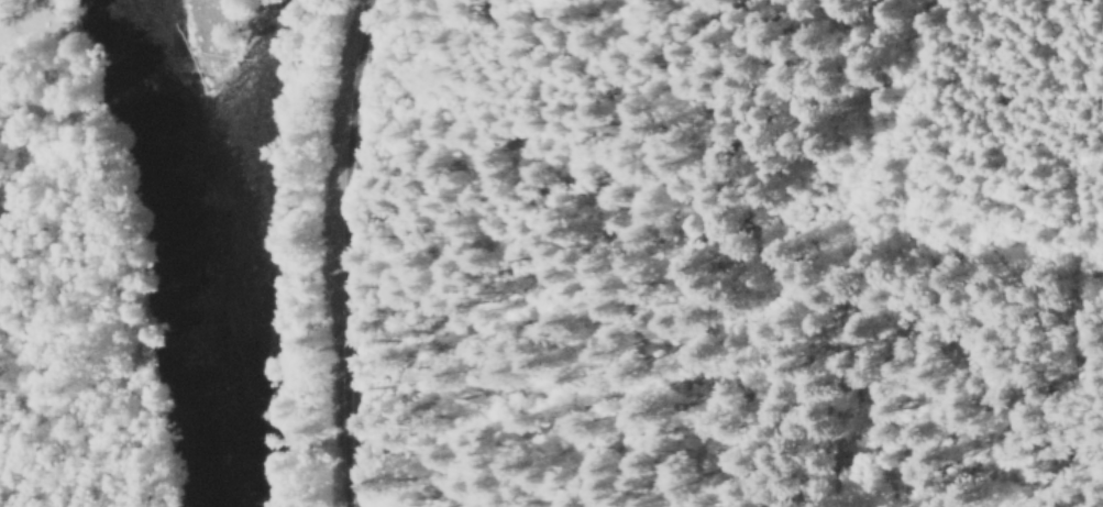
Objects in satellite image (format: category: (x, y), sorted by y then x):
river: (191, 250)
road: (342, 253)

